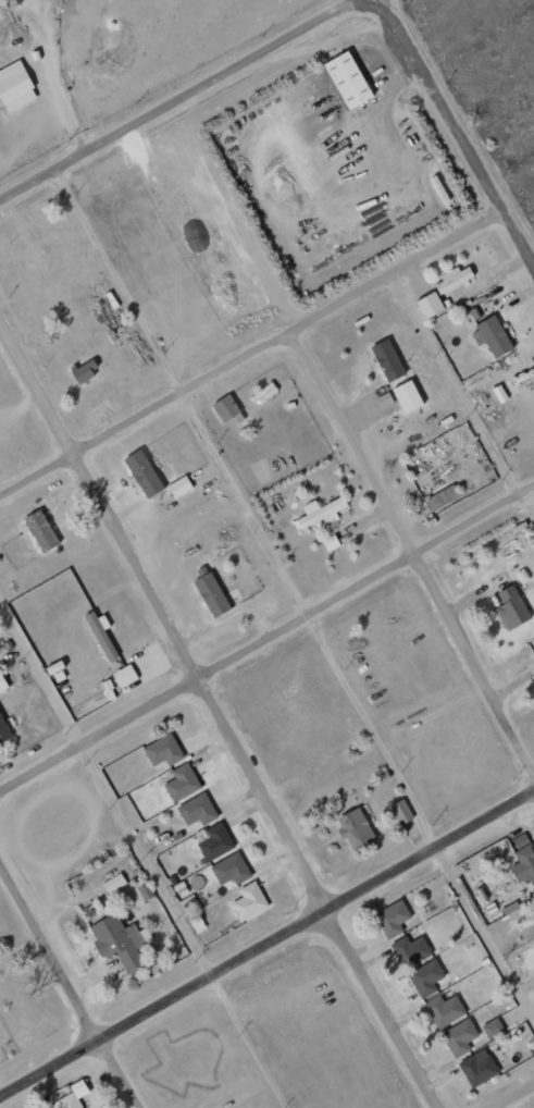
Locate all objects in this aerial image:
building: (348, 79)
building: (15, 86)
road: (185, 100)
road: (455, 133)
building: (454, 280)
building: (430, 305)
building: (490, 336)
road: (250, 354)
building: (84, 372)
building: (396, 376)
building: (263, 394)
road: (461, 402)
building: (226, 409)
building: (420, 457)
building: (144, 473)
building: (179, 487)
building: (442, 498)
building: (321, 513)
building: (40, 530)
building: (330, 542)
road: (411, 555)
road: (296, 590)
building: (211, 594)
building: (510, 607)
building: (100, 632)
road: (265, 632)
building: (124, 675)
building: (2, 684)
road: (220, 717)
building: (3, 730)
building: (163, 750)
building: (381, 777)
building: (182, 783)
building: (197, 810)
building: (401, 811)
building: (355, 828)
building: (213, 840)
road: (145, 854)
building: (523, 863)
building: (231, 869)
building: (113, 883)
building: (145, 891)
building: (249, 901)
building: (532, 903)
building: (392, 919)
road: (265, 940)
building: (119, 943)
building: (409, 950)
building: (425, 977)
road: (67, 985)
building: (444, 1010)
building: (493, 1029)
building: (459, 1037)
building: (477, 1068)
road: (512, 1095)
building: (72, 1096)

